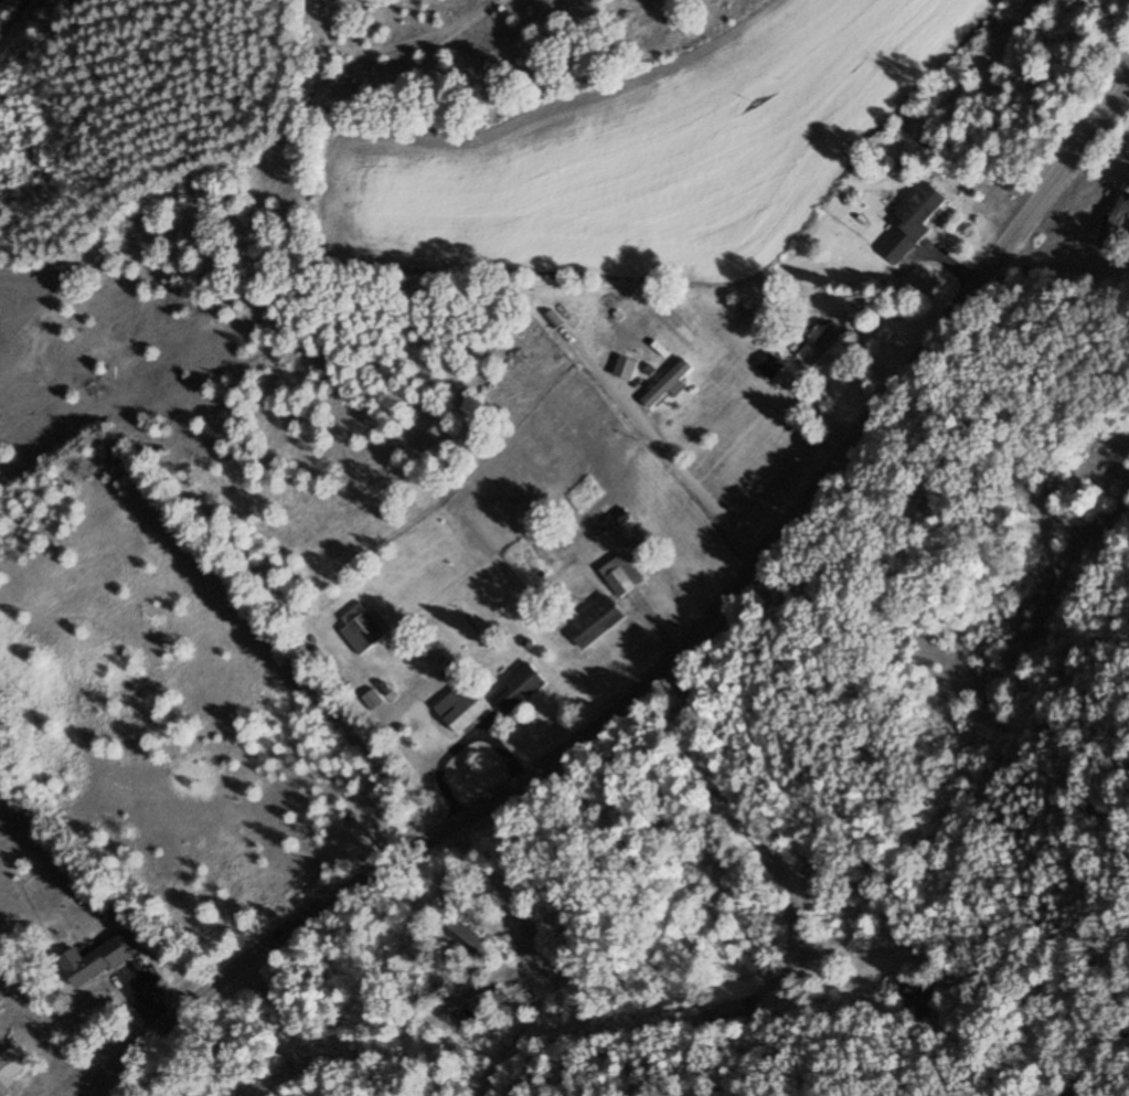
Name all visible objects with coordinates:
road: (1123, 20)
building: (910, 222)
building: (1117, 225)
road: (1062, 263)
road: (776, 304)
building: (821, 347)
building: (764, 362)
building: (624, 368)
building: (664, 384)
building: (620, 575)
road: (654, 614)
building: (595, 620)
building: (362, 632)
building: (516, 688)
building: (461, 705)
building: (465, 935)
building: (96, 960)
building: (923, 1000)
building: (472, 1011)
building: (724, 1019)
building: (11, 1067)

